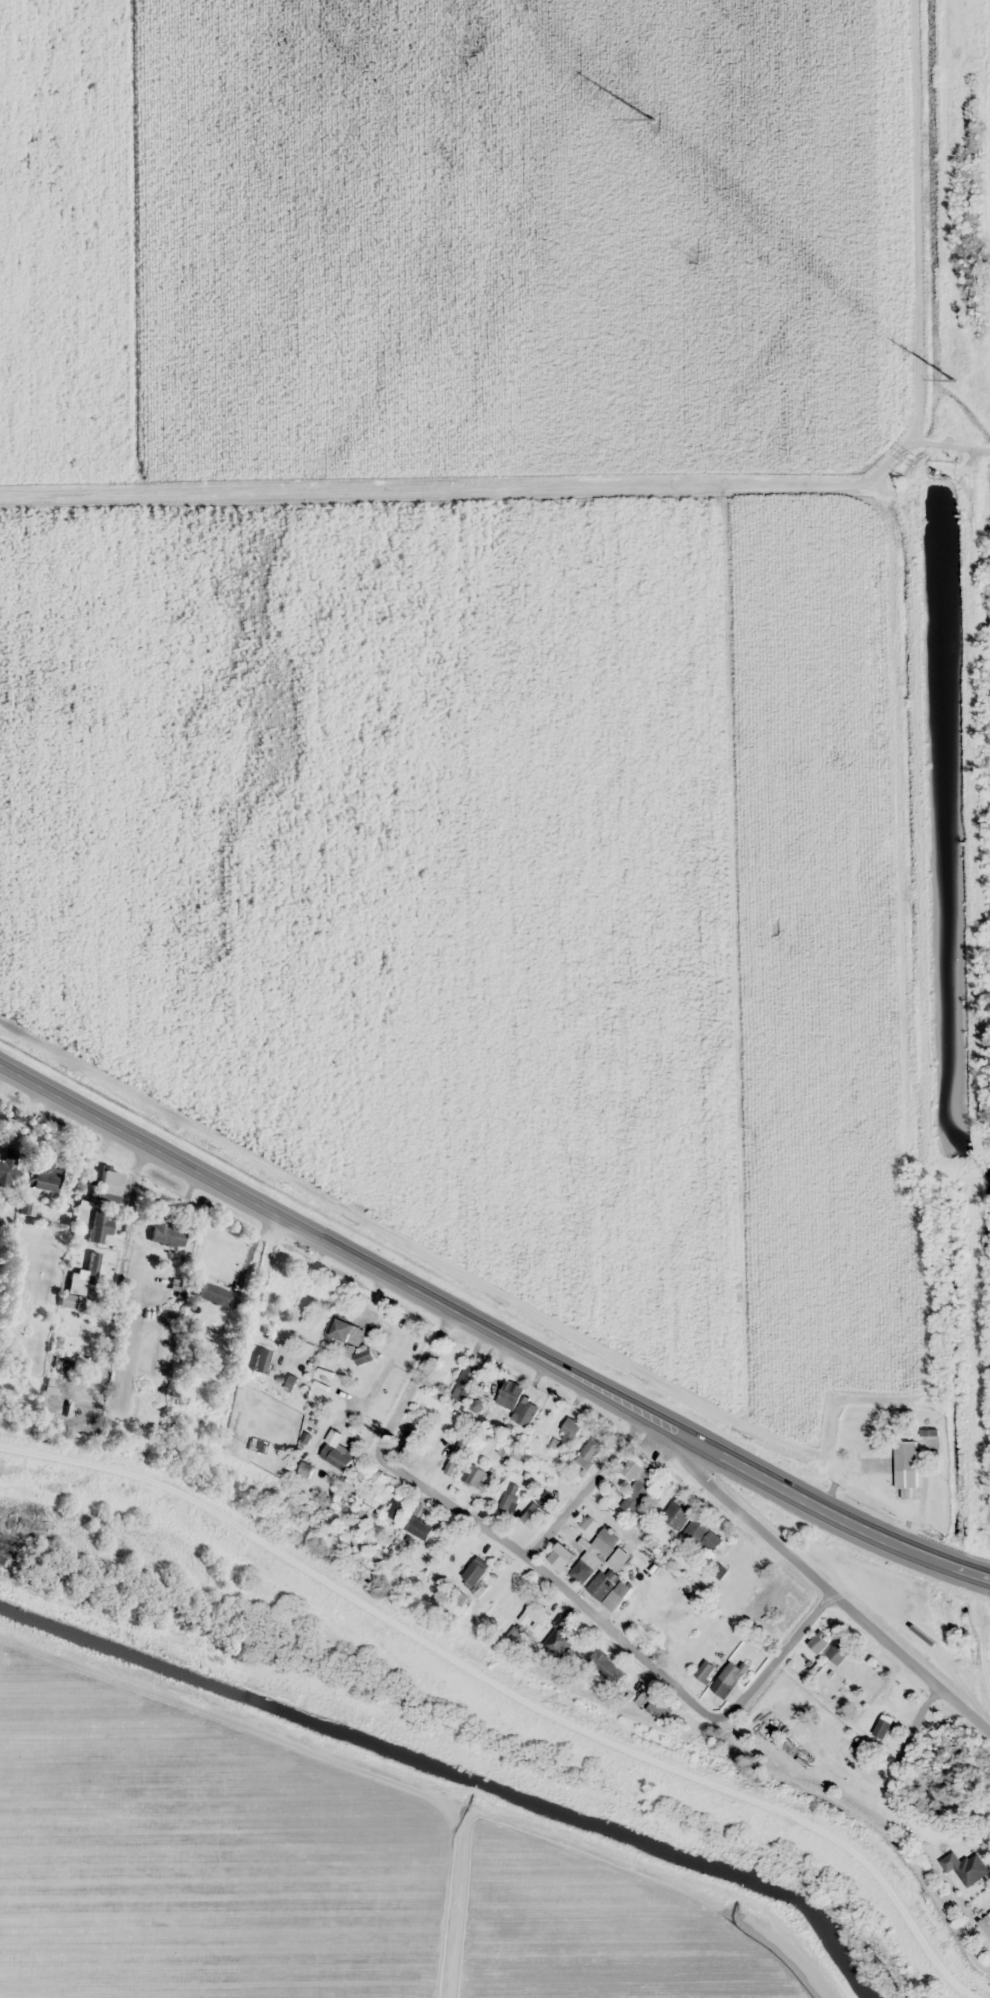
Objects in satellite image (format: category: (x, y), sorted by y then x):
power tower: (465, 45)
power tower: (652, 120)
power tower: (690, 253)
power tower: (954, 380)
power tower: (912, 462)
building: (10, 1167)
building: (48, 1176)
building: (109, 1185)
building: (101, 1227)
building: (168, 1234)
road: (352, 1253)
building: (93, 1263)
building: (302, 1289)
building: (212, 1293)
building: (71, 1301)
building: (344, 1331)
building: (262, 1360)
building: (61, 1365)
building: (222, 1374)
building: (468, 1378)
building: (290, 1383)
building: (508, 1395)
building: (49, 1396)
building: (525, 1412)
building: (202, 1418)
building: (569, 1431)
building: (866, 1442)
building: (591, 1449)
building: (335, 1452)
building: (905, 1469)
building: (476, 1477)
building: (637, 1483)
road: (586, 1486)
building: (663, 1495)
building: (509, 1498)
building: (537, 1509)
building: (677, 1514)
road: (844, 1517)
building: (417, 1528)
building: (702, 1535)
building: (560, 1556)
building: (593, 1556)
building: (617, 1560)
building: (475, 1571)
road: (555, 1585)
building: (608, 1589)
building: (456, 1596)
road: (833, 1596)
building: (509, 1612)
building: (534, 1615)
building: (558, 1639)
building: (818, 1643)
building: (837, 1653)
building: (605, 1666)
building: (704, 1671)
building: (727, 1679)
building: (659, 1708)
building: (882, 1726)
building: (970, 1869)

